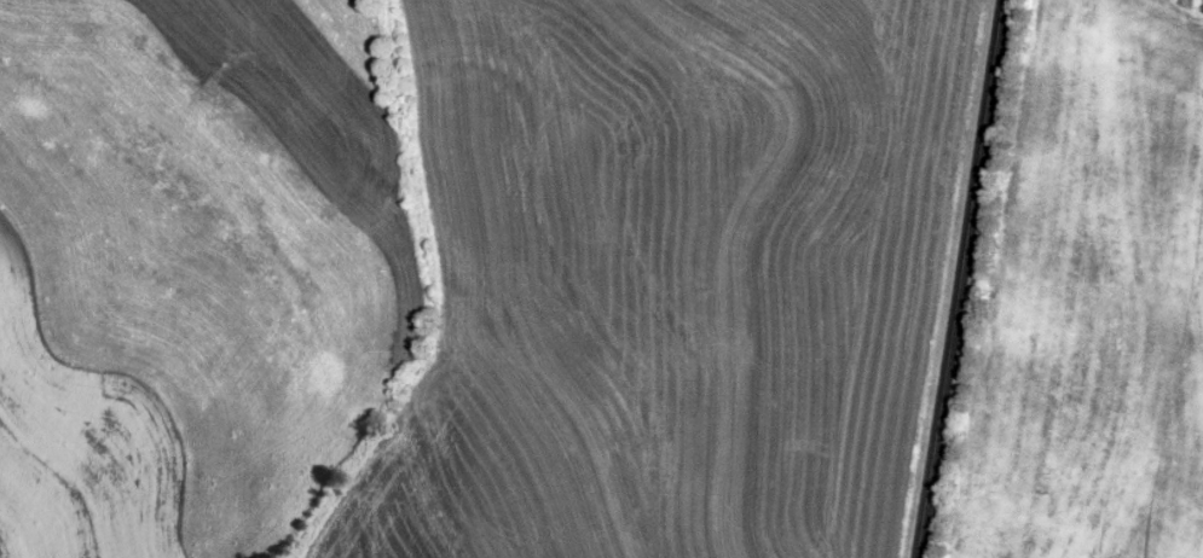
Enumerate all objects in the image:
road: (960, 279)

